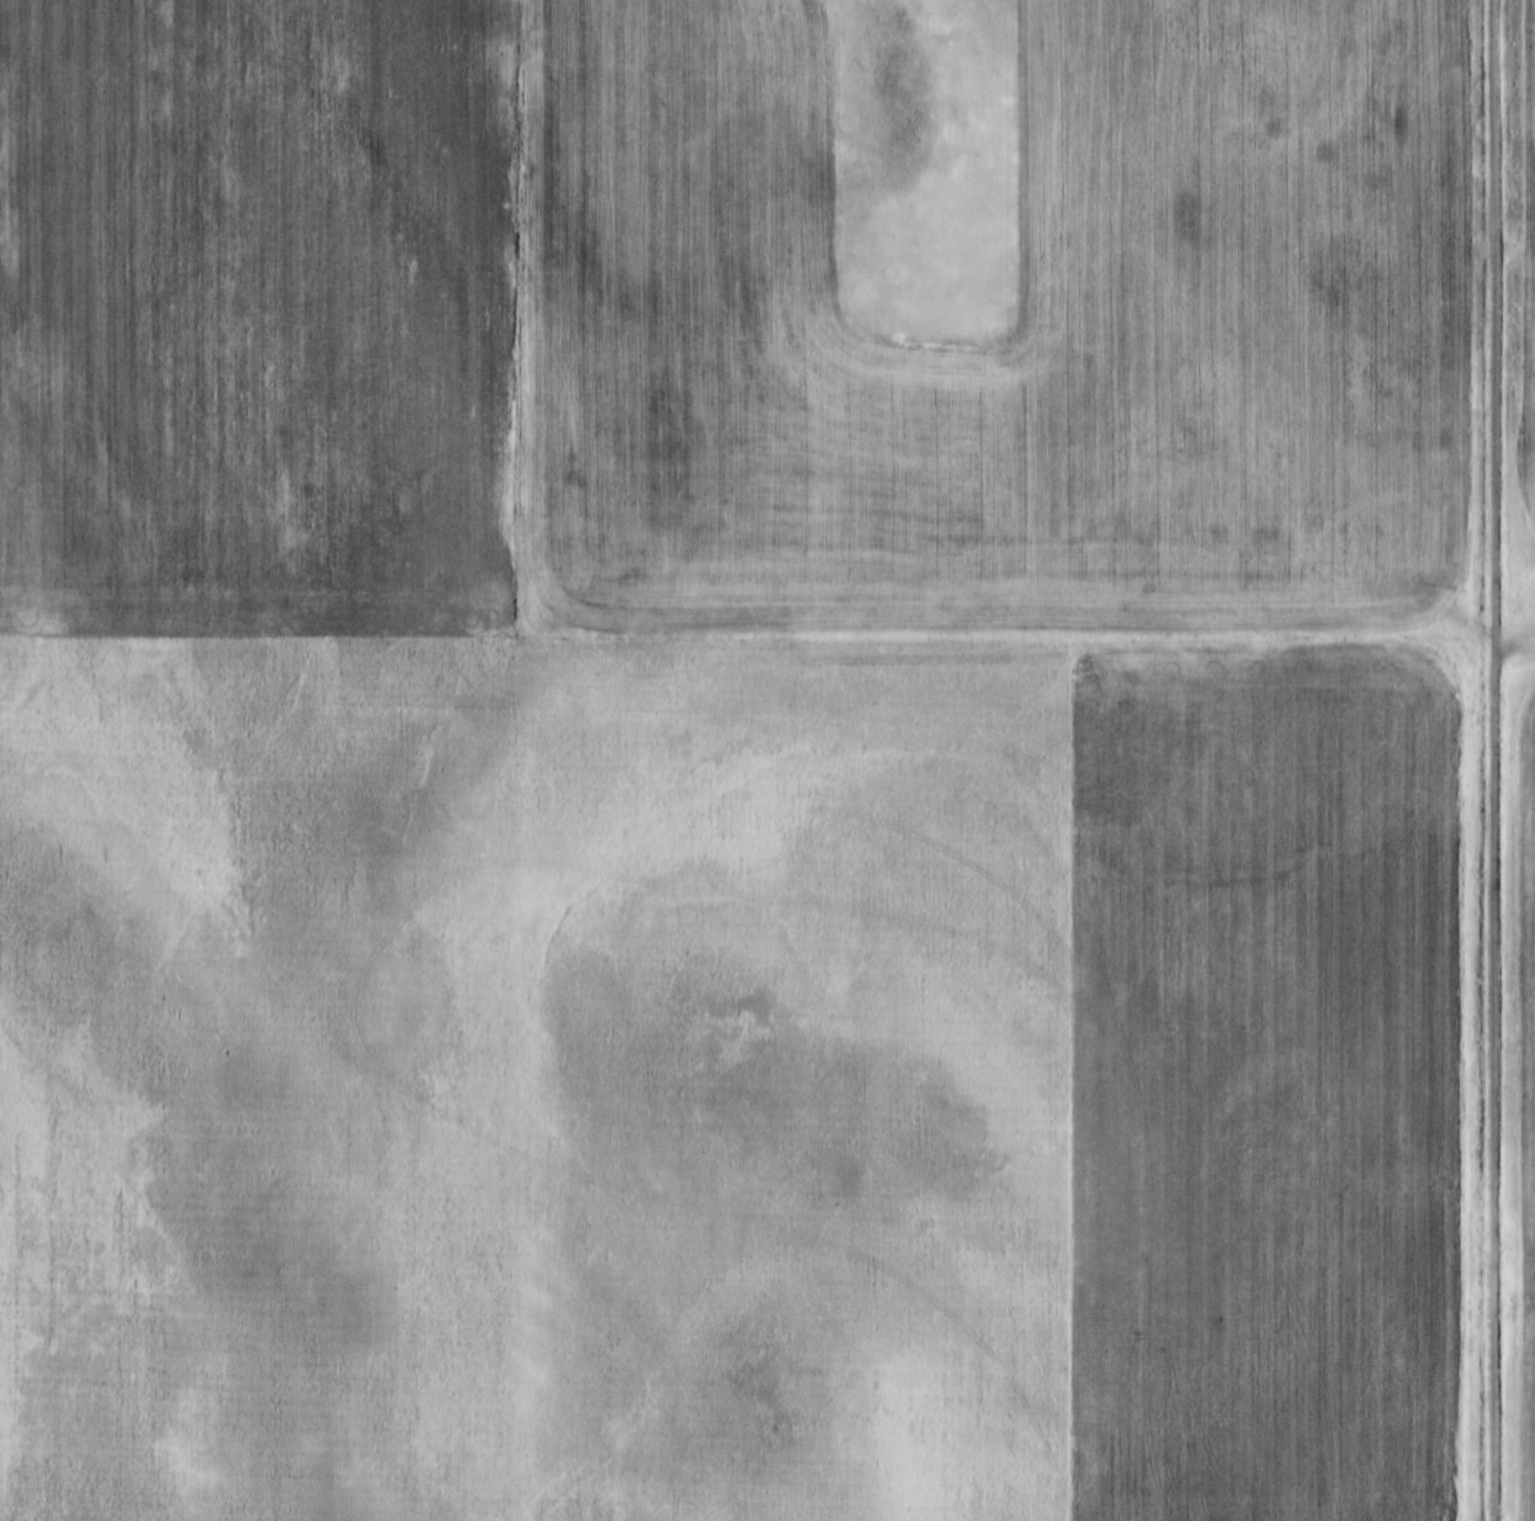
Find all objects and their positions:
road: (1491, 760)

